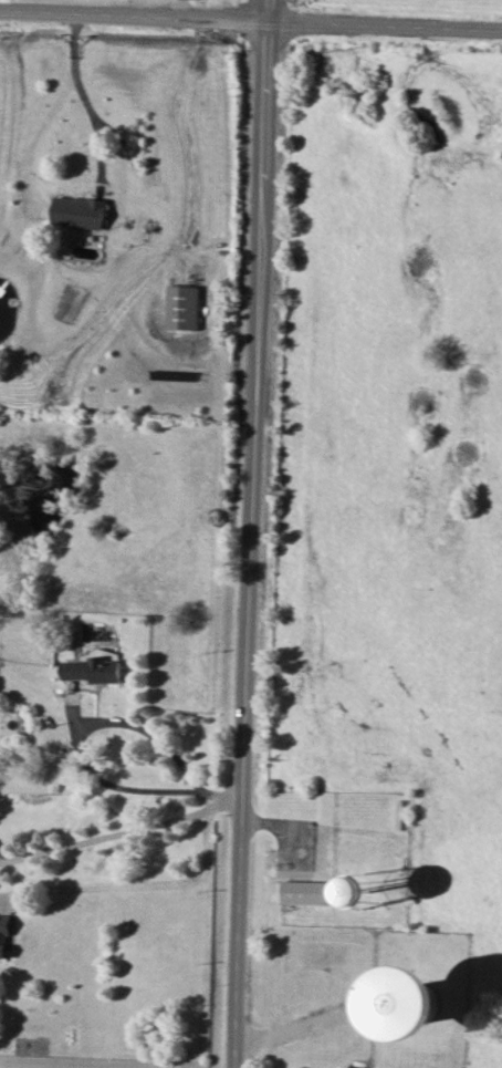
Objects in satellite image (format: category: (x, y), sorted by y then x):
road: (273, 11)
road: (250, 22)
road: (84, 104)
road: (35, 135)
building: (80, 212)
building: (182, 307)
road: (254, 546)
building: (94, 670)
road: (85, 744)
road: (125, 819)
road: (137, 874)
building: (369, 891)
building: (306, 892)
building: (4, 935)
building: (419, 1003)

